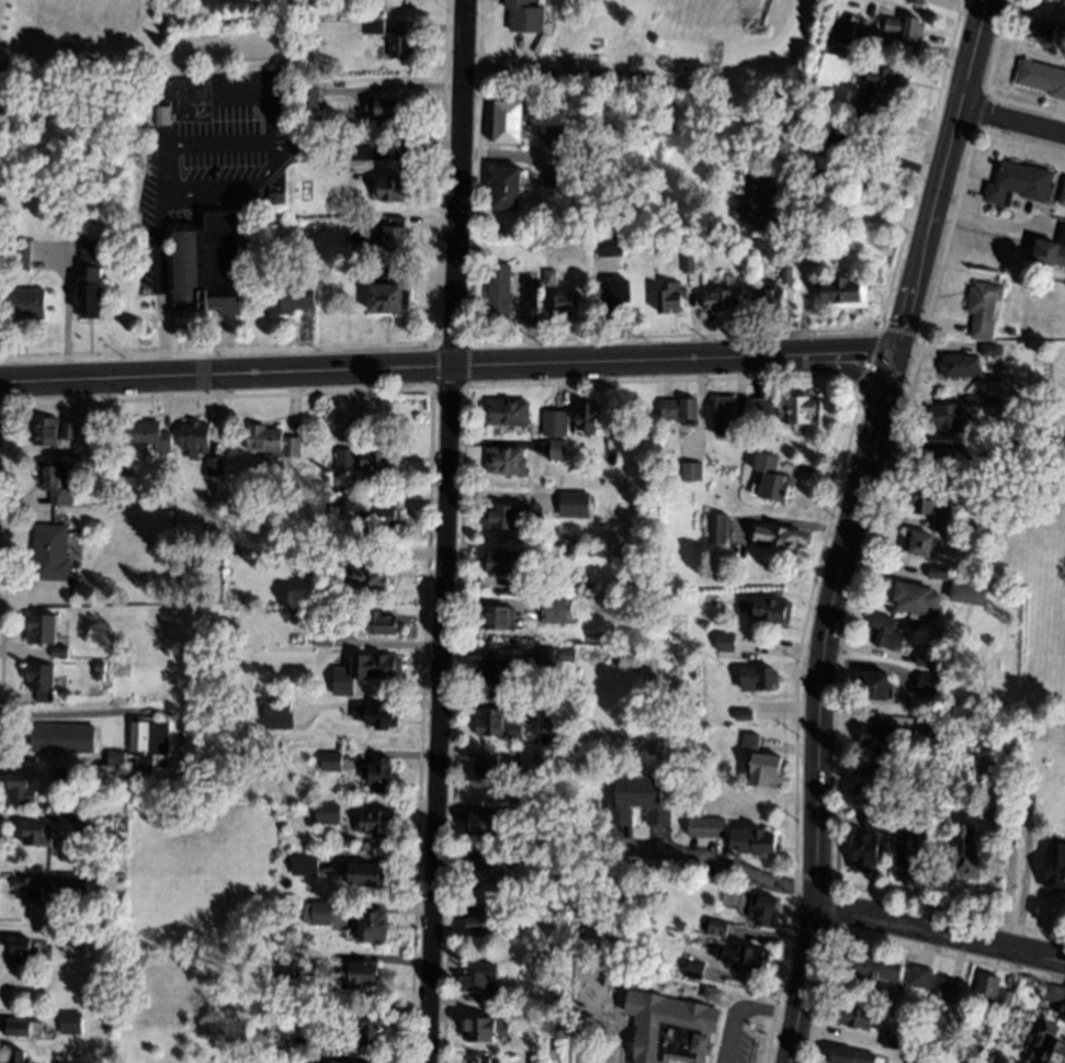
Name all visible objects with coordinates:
building: (1056, 0)
building: (918, 1)
building: (314, 3)
building: (1063, 9)
building: (525, 14)
building: (374, 26)
building: (906, 27)
building: (840, 30)
building: (1042, 30)
building: (400, 45)
park: (722, 55)
road: (566, 72)
building: (1042, 77)
building: (879, 87)
building: (825, 95)
building: (309, 98)
building: (392, 108)
building: (160, 116)
road: (1012, 121)
building: (508, 122)
building: (560, 137)
building: (812, 138)
road: (365, 152)
building: (829, 171)
road: (163, 172)
building: (559, 177)
road: (942, 177)
building: (1018, 182)
building: (506, 188)
building: (390, 189)
building: (1063, 196)
building: (276, 197)
building: (758, 202)
building: (389, 235)
road: (161, 244)
building: (805, 244)
building: (610, 246)
building: (707, 248)
building: (1050, 253)
building: (19, 255)
building: (688, 263)
building: (224, 264)
building: (189, 273)
building: (786, 274)
building: (90, 279)
building: (551, 279)
building: (499, 292)
building: (845, 292)
building: (388, 294)
road: (161, 297)
building: (292, 297)
building: (671, 297)
building: (772, 297)
building: (615, 299)
building: (718, 301)
building: (564, 304)
building: (23, 305)
road: (161, 307)
building: (983, 309)
road: (65, 315)
road: (161, 346)
building: (990, 350)
building: (959, 365)
road: (447, 367)
road: (853, 372)
building: (977, 400)
building: (764, 406)
building: (800, 409)
building: (680, 410)
building: (508, 412)
building: (727, 417)
building: (587, 418)
building: (947, 418)
building: (554, 420)
building: (53, 431)
building: (148, 437)
building: (196, 439)
building: (272, 441)
building: (557, 450)
road: (968, 450)
road: (887, 460)
building: (345, 461)
building: (378, 461)
building: (506, 461)
building: (214, 466)
building: (691, 472)
building: (128, 474)
building: (56, 480)
building: (771, 480)
building: (573, 504)
building: (931, 508)
building: (336, 512)
building: (508, 513)
building: (378, 517)
road: (827, 522)
building: (716, 529)
road: (444, 531)
building: (778, 538)
building: (920, 543)
building: (52, 553)
building: (328, 557)
building: (503, 563)
building: (938, 572)
building: (369, 574)
building: (525, 585)
building: (967, 593)
building: (916, 600)
building: (548, 608)
building: (772, 610)
building: (298, 613)
building: (497, 618)
building: (381, 623)
building: (42, 630)
building: (886, 633)
building: (324, 637)
building: (725, 642)
building: (59, 653)
building: (566, 655)
building: (924, 660)
building: (546, 661)
building: (98, 666)
building: (381, 667)
building: (496, 672)
building: (758, 678)
building: (41, 681)
building: (928, 685)
building: (875, 686)
road: (819, 704)
building: (520, 710)
road: (79, 714)
building: (279, 714)
building: (376, 715)
building: (743, 715)
building: (490, 723)
building: (930, 728)
building: (63, 737)
building: (877, 737)
building: (749, 742)
building: (277, 745)
building: (147, 747)
building: (115, 758)
road: (50, 759)
building: (332, 761)
building: (529, 761)
building: (377, 770)
building: (764, 770)
building: (888, 771)
building: (488, 774)
building: (67, 777)
building: (1000, 788)
building: (20, 790)
building: (872, 792)
building: (638, 800)
building: (147, 804)
building: (933, 807)
building: (1024, 810)
building: (328, 814)
building: (932, 819)
building: (95, 824)
building: (375, 824)
building: (483, 824)
building: (876, 824)
building: (705, 827)
building: (38, 835)
building: (754, 841)
building: (910, 850)
building: (865, 851)
building: (966, 853)
building: (519, 859)
building: (305, 866)
building: (1055, 868)
building: (481, 869)
road: (715, 870)
building: (362, 873)
building: (77, 884)
building: (32, 889)
road: (930, 906)
building: (760, 909)
building: (318, 913)
building: (293, 915)
building: (487, 921)
building: (372, 926)
building: (717, 928)
road: (940, 932)
building: (70, 938)
building: (23, 951)
road: (927, 954)
building: (744, 958)
building: (284, 966)
building: (876, 969)
building: (693, 970)
building: (361, 973)
building: (920, 976)
building: (477, 977)
building: (987, 986)
building: (948, 992)
building: (712, 994)
building: (1053, 994)
building: (497, 996)
building: (1006, 999)
building: (1063, 1011)
building: (858, 1016)
building: (1064, 1020)
building: (70, 1022)
building: (367, 1025)
building: (23, 1028)
building: (486, 1029)
building: (281, 1039)
building: (738, 1040)
building: (890, 1042)
building: (1049, 1045)
building: (677, 1055)
building: (851, 1055)
building: (19, 1058)
building: (481, 1060)
building: (919, 1060)

